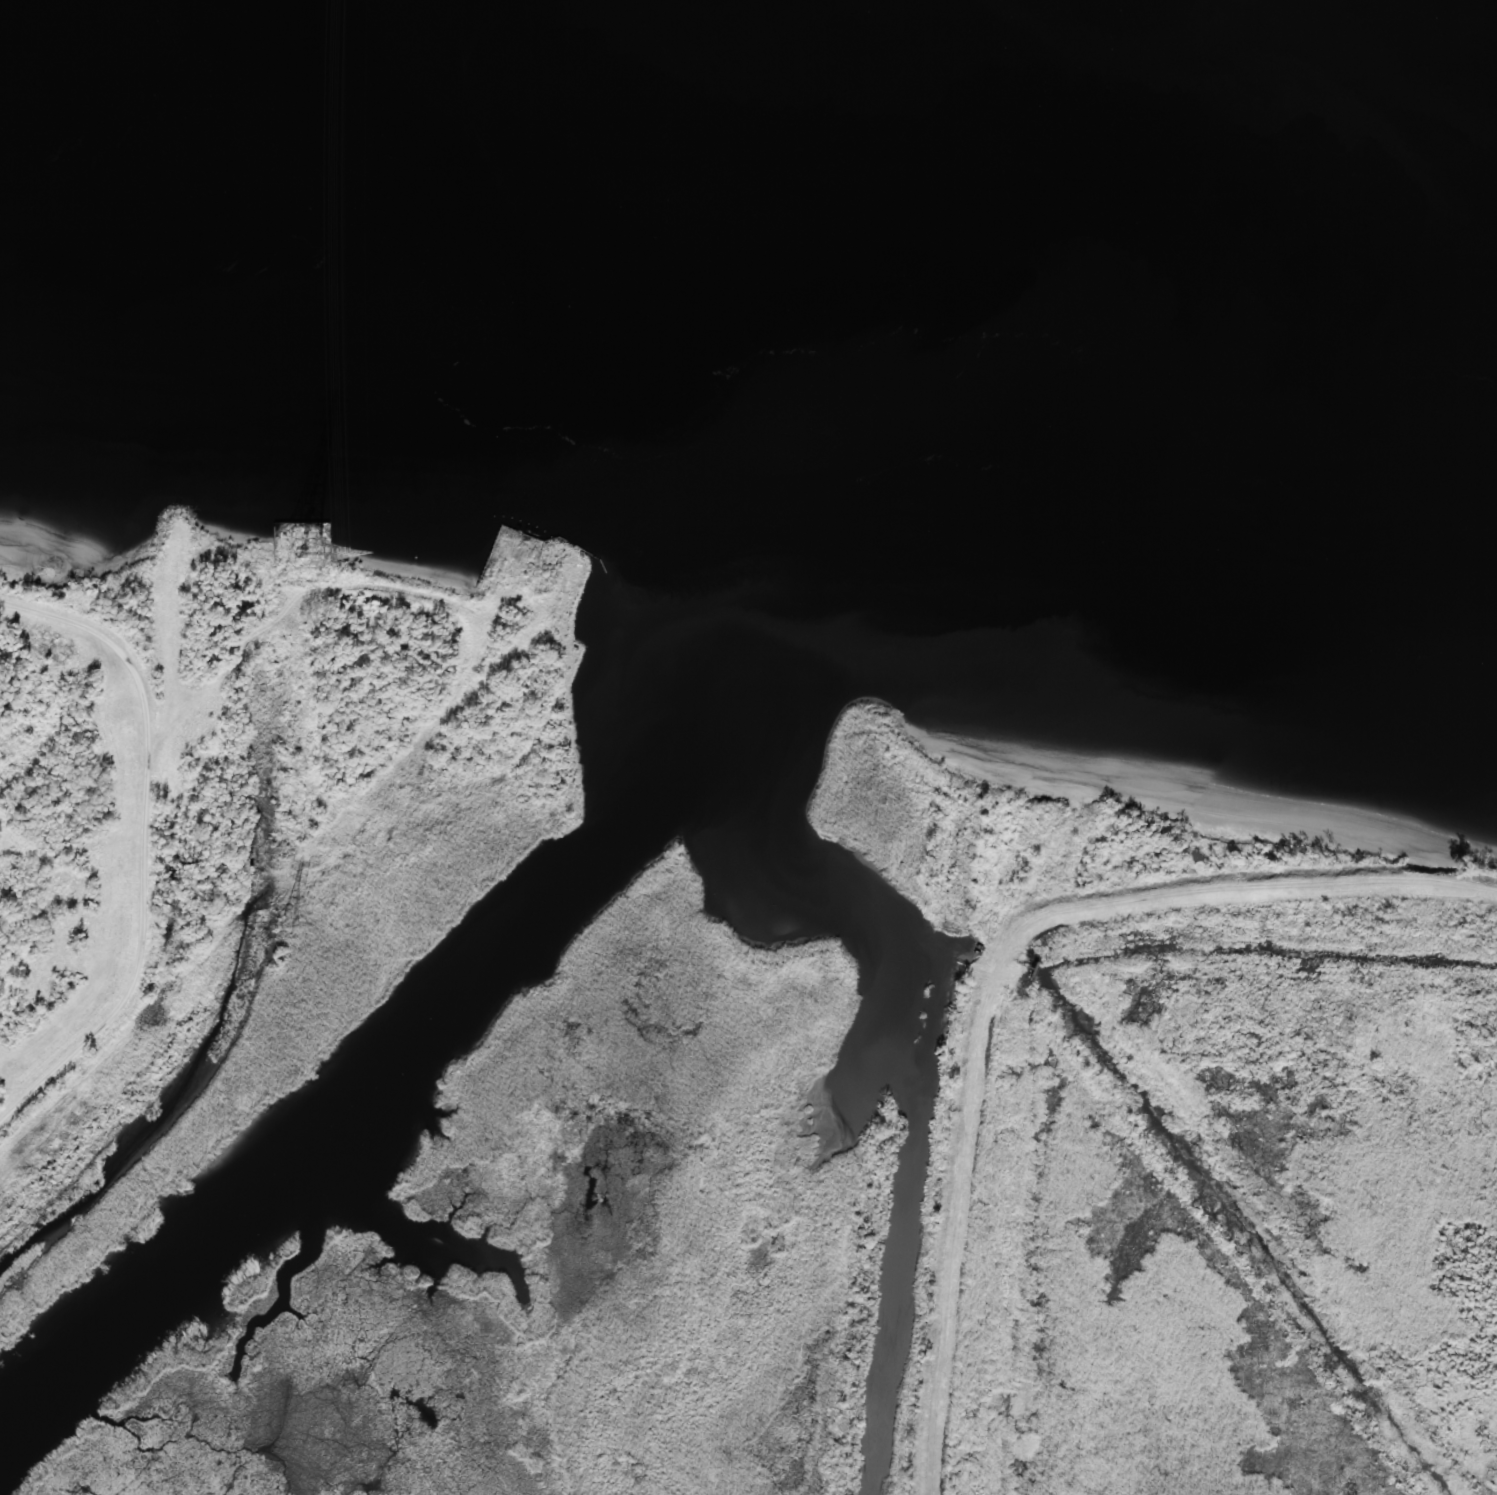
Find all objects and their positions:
river: (748, 241)
power tower: (301, 555)
power tower: (287, 925)

